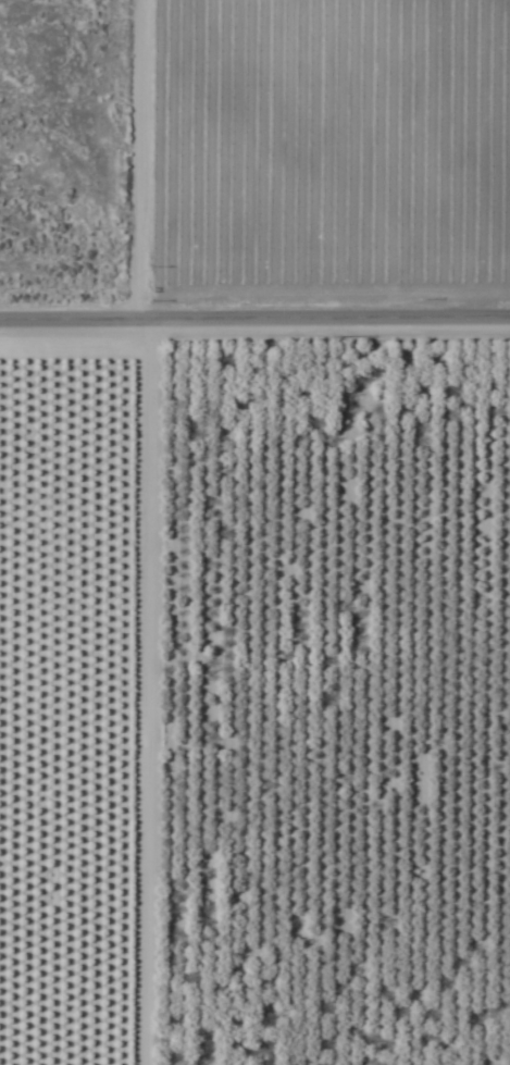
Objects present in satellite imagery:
road: (254, 312)
road: (136, 532)

